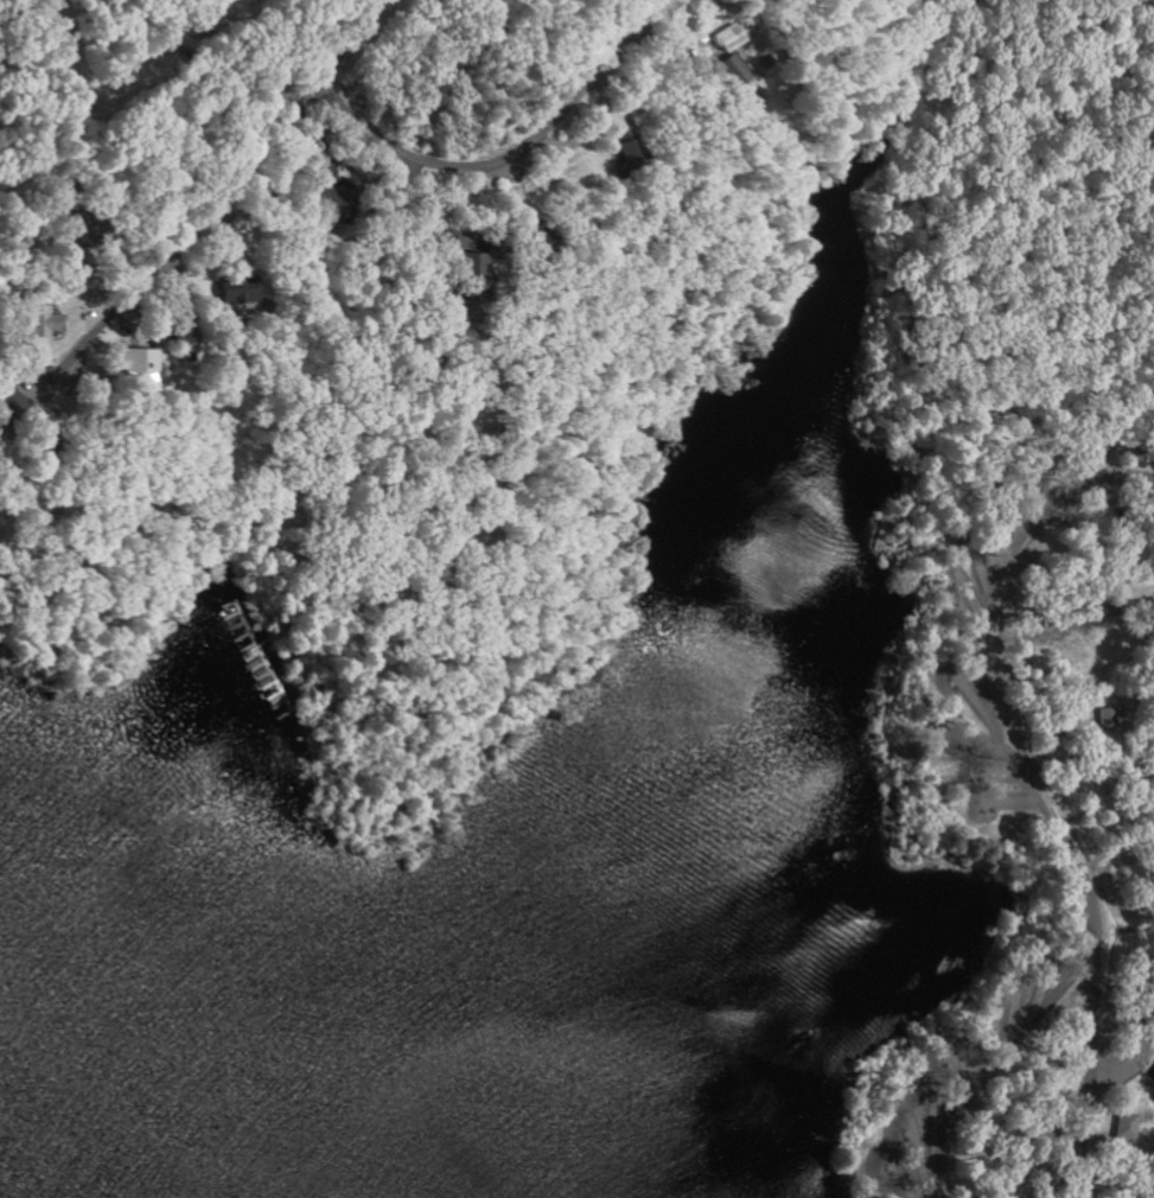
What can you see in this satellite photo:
building: (741, 71)
road: (148, 90)
building: (636, 154)
road: (466, 166)
road: (187, 229)
building: (479, 265)
building: (50, 323)
building: (147, 362)
park: (1009, 575)
road: (987, 645)
building: (1112, 718)
road: (1090, 1034)
road: (1007, 1051)
building: (1124, 1124)
road: (1090, 1152)

